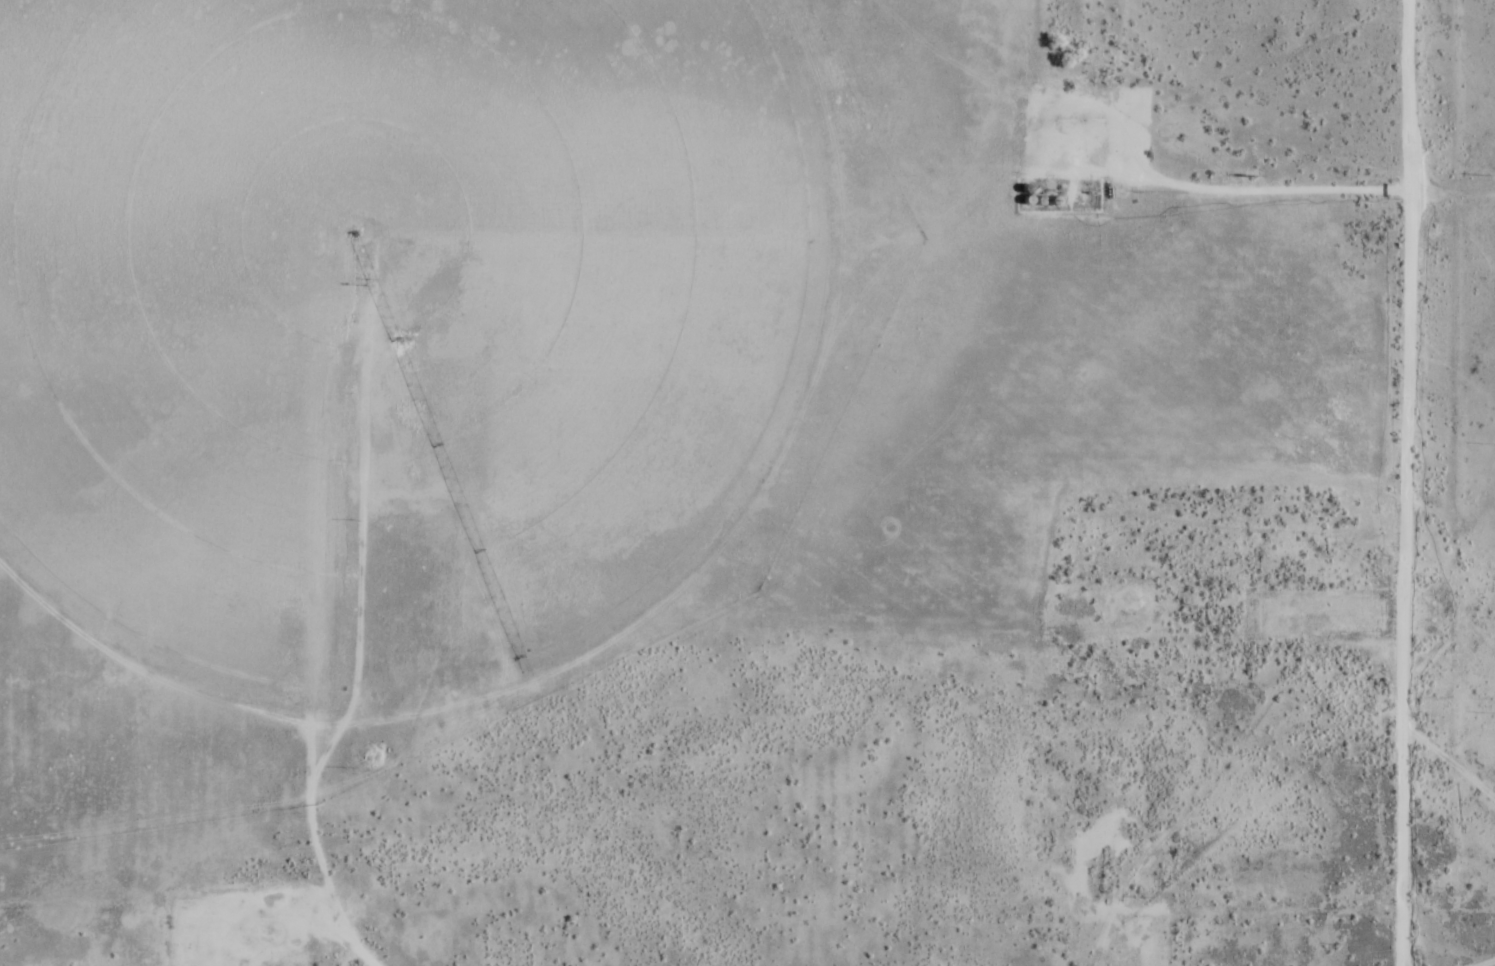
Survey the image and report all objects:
road: (1409, 483)

